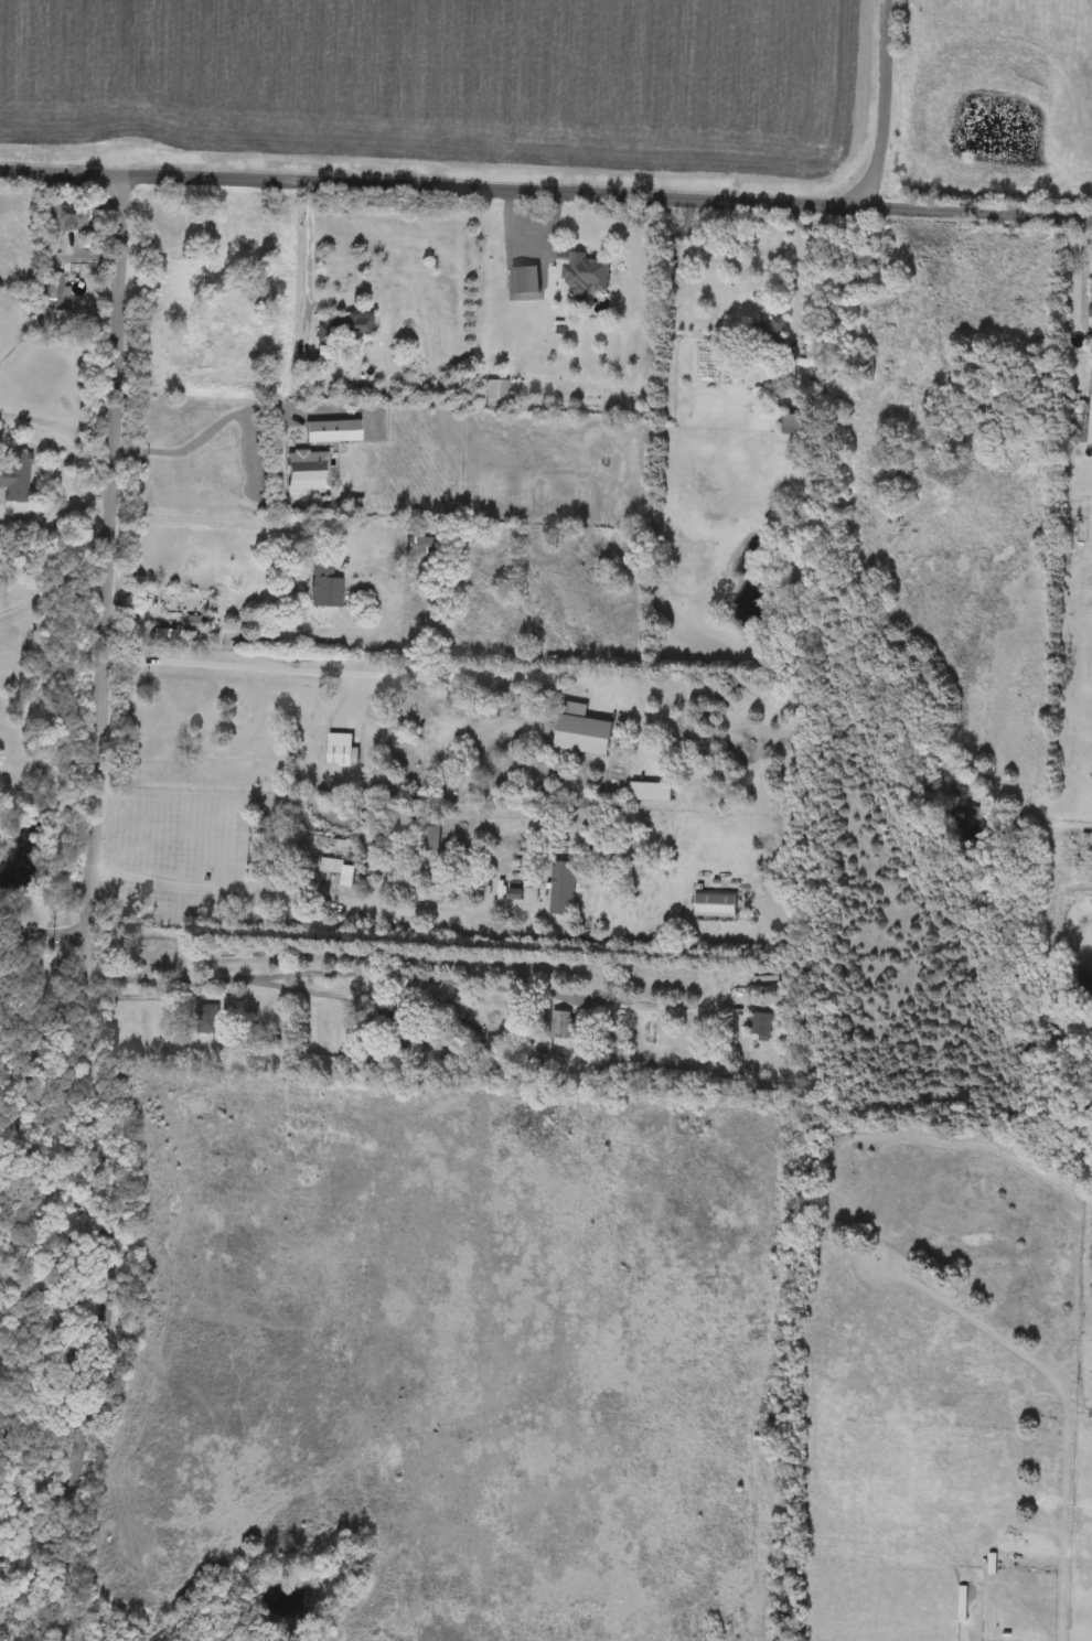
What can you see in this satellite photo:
road: (879, 106)
road: (546, 190)
building: (71, 219)
road: (309, 258)
road: (795, 258)
building: (855, 270)
building: (586, 275)
building: (53, 288)
building: (344, 326)
building: (767, 336)
building: (860, 369)
building: (496, 394)
road: (235, 416)
building: (800, 426)
building: (15, 478)
road: (54, 512)
road: (247, 524)
building: (426, 548)
building: (326, 588)
road: (53, 589)
building: (174, 636)
road: (406, 675)
road: (45, 727)
building: (585, 738)
building: (343, 753)
building: (414, 813)
building: (430, 840)
building: (331, 845)
building: (332, 868)
building: (563, 891)
road: (312, 893)
building: (717, 908)
road: (88, 909)
road: (21, 934)
road: (55, 935)
building: (164, 952)
road: (407, 978)
building: (207, 1021)
building: (392, 1021)
building: (759, 1027)
building: (561, 1029)
building: (464, 1058)
road: (43, 1138)
road: (33, 1481)

